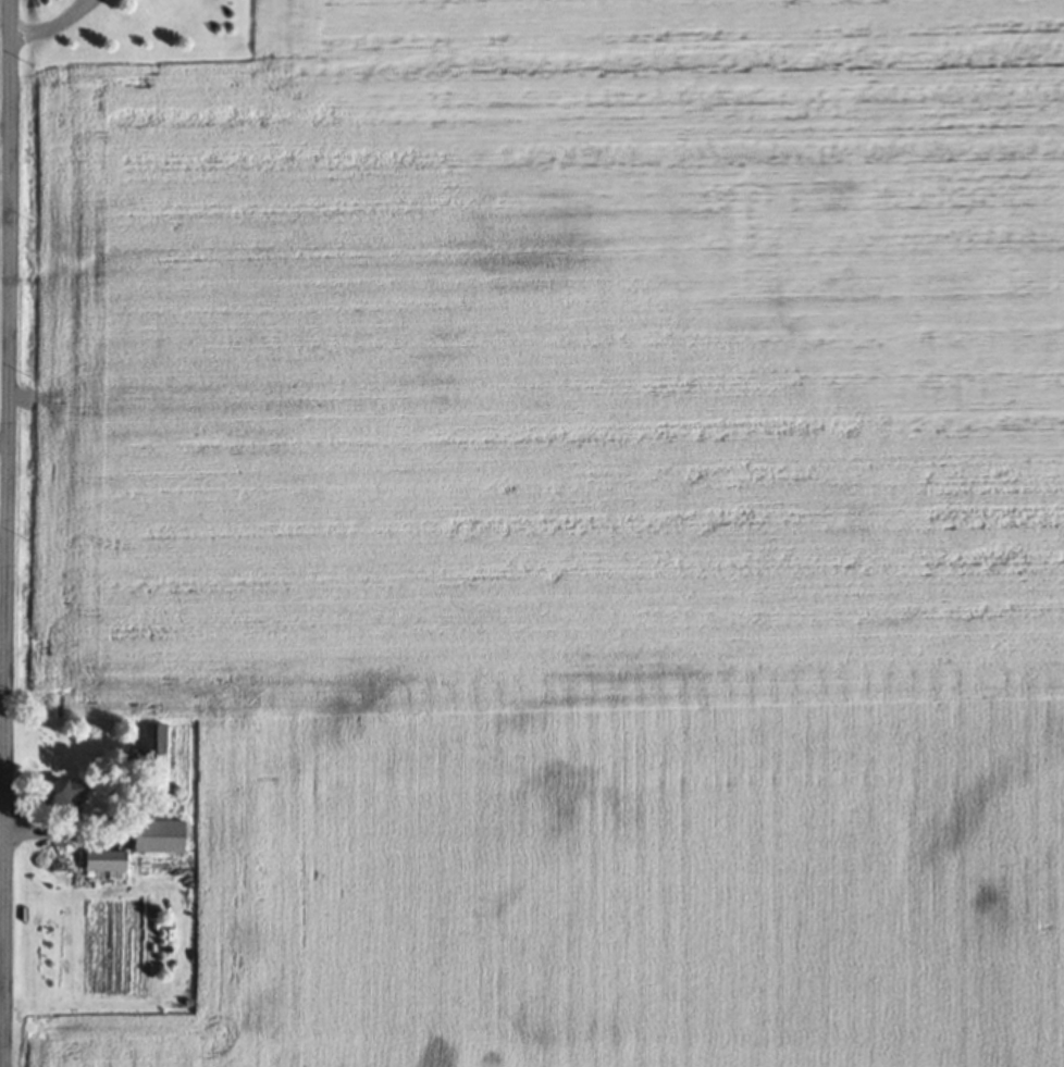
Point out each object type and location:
road: (44, 24)
road: (3, 438)
road: (2, 530)
road: (4, 533)
building: (149, 750)
building: (59, 801)
road: (60, 832)
building: (153, 843)
building: (100, 867)

